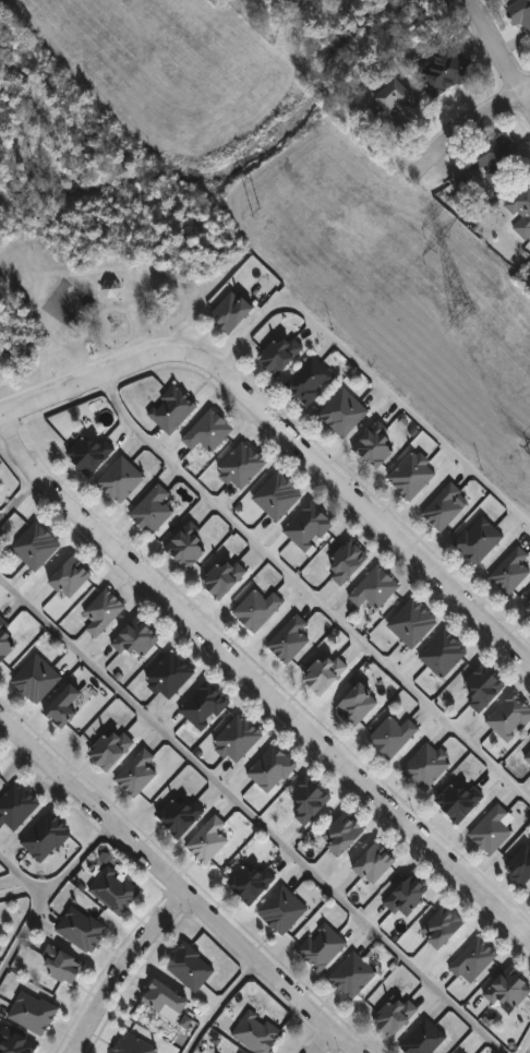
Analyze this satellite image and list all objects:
building: (296, 1)
building: (520, 13)
road: (498, 51)
building: (449, 71)
road: (526, 86)
building: (395, 107)
road: (461, 128)
building: (499, 159)
building: (521, 210)
building: (112, 287)
building: (231, 311)
power tower: (469, 316)
building: (280, 354)
road: (368, 371)
road: (94, 379)
building: (310, 380)
building: (172, 409)
building: (344, 412)
building: (208, 431)
building: (377, 445)
building: (91, 453)
building: (242, 465)
building: (412, 476)
building: (121, 479)
building: (0, 488)
building: (0, 490)
building: (277, 495)
road: (20, 502)
building: (446, 506)
building: (153, 510)
road: (360, 510)
building: (309, 527)
building: (480, 540)
building: (36, 546)
building: (189, 546)
building: (347, 561)
building: (511, 571)
building: (71, 577)
building: (224, 578)
building: (374, 588)
road: (309, 593)
building: (528, 609)
building: (257, 610)
building: (104, 612)
building: (412, 623)
building: (15, 634)
building: (289, 639)
building: (136, 641)
building: (444, 654)
building: (325, 672)
building: (170, 674)
building: (37, 679)
road: (257, 681)
building: (483, 687)
building: (357, 705)
building: (63, 706)
building: (205, 706)
building: (509, 718)
building: (393, 737)
building: (238, 739)
building: (111, 749)
building: (527, 755)
building: (426, 766)
building: (272, 769)
building: (136, 775)
building: (309, 800)
building: (459, 801)
building: (16, 806)
road: (253, 815)
building: (180, 816)
building: (492, 830)
building: (342, 834)
building: (46, 838)
building: (208, 840)
building: (374, 863)
building: (520, 865)
road: (22, 876)
building: (251, 882)
road: (173, 888)
building: (115, 890)
road: (47, 895)
building: (407, 895)
building: (282, 910)
building: (443, 926)
building: (82, 929)
building: (322, 946)
building: (473, 959)
building: (61, 965)
building: (191, 967)
road: (122, 972)
building: (353, 974)
building: (508, 989)
building: (165, 997)
road: (218, 1006)
building: (33, 1013)
building: (396, 1015)
building: (256, 1032)
building: (424, 1038)
building: (16, 1043)
building: (134, 1044)
road: (324, 1046)
building: (460, 1052)
building: (462, 1052)

